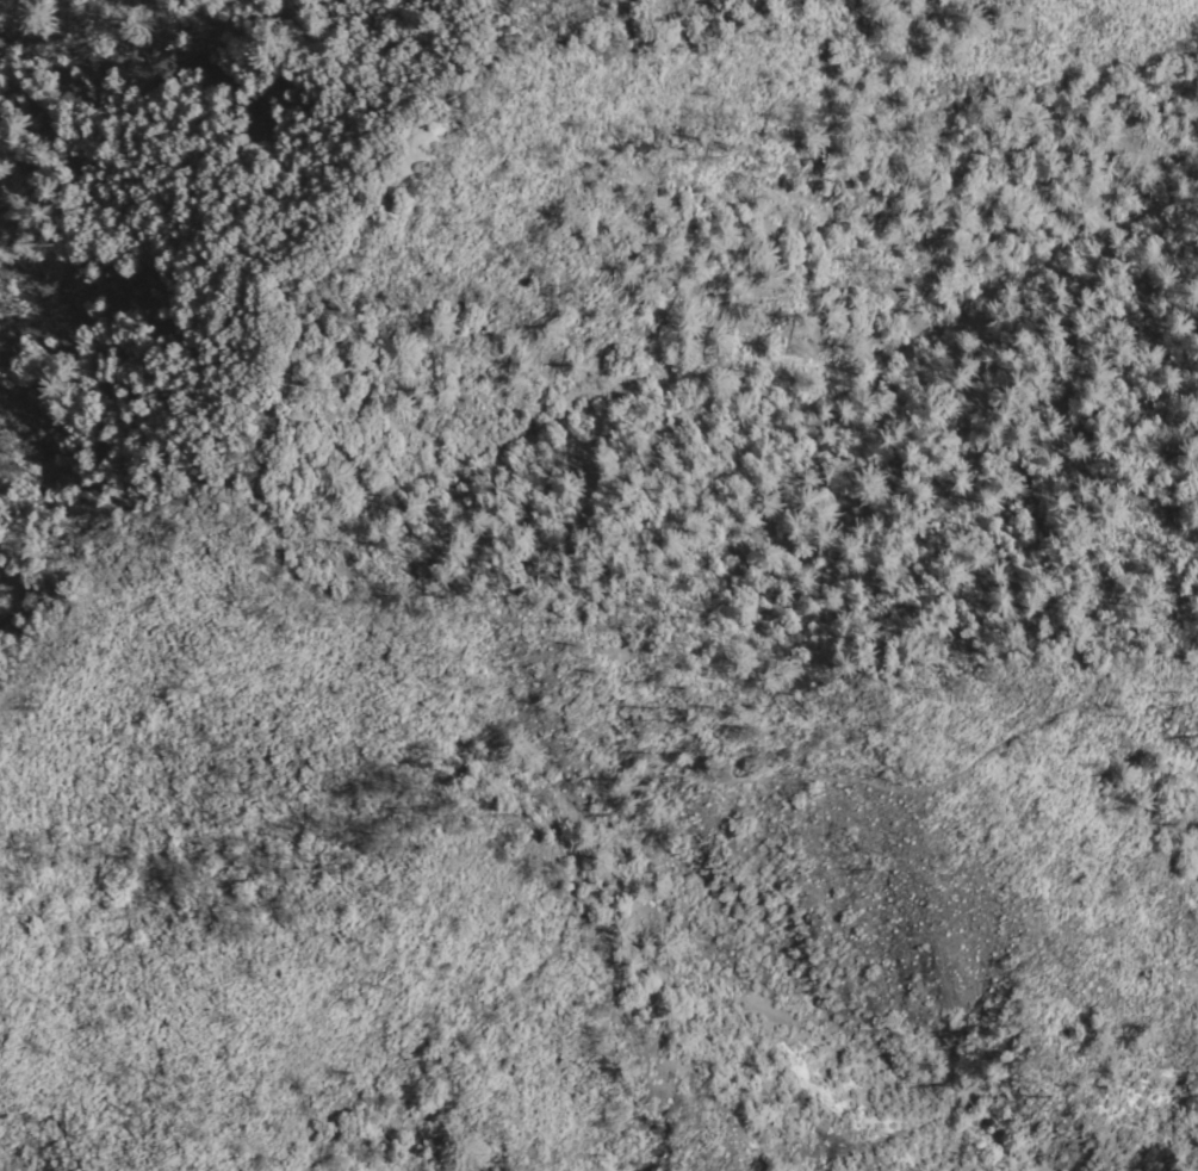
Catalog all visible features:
road: (1090, 679)
road: (49, 1130)

